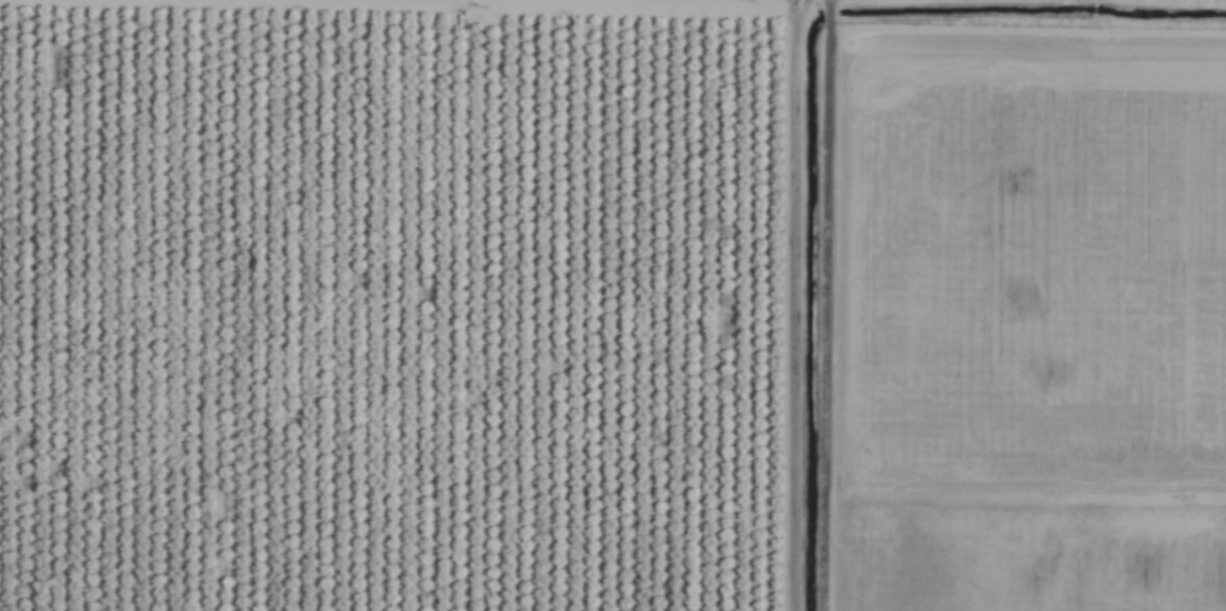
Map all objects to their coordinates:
road: (792, 305)
road: (825, 305)

